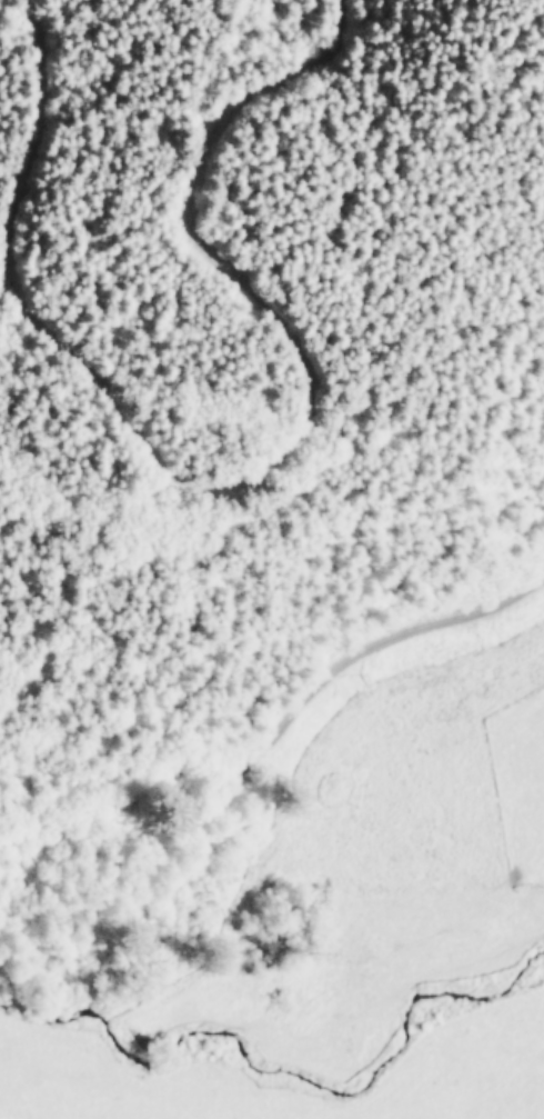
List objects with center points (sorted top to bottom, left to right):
road: (259, 482)
road: (281, 766)
crop: (328, 953)

